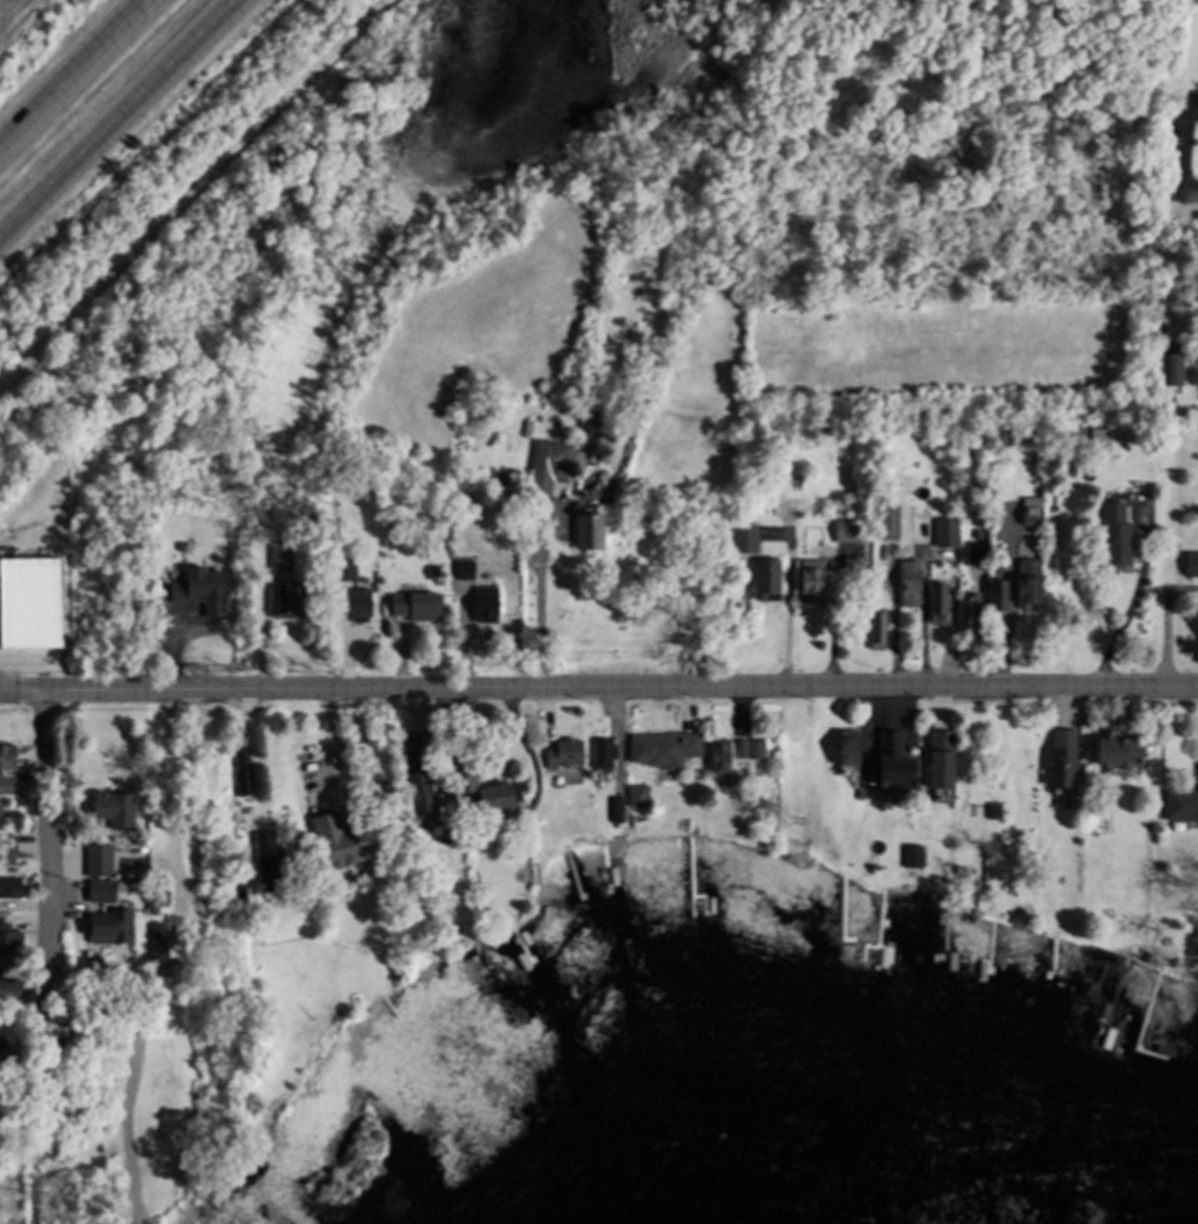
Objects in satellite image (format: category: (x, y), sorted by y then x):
road: (83, 81)
building: (1187, 110)
road: (127, 125)
road: (1179, 193)
road: (192, 195)
building: (1175, 373)
building: (1109, 444)
building: (551, 469)
building: (1033, 514)
building: (889, 526)
building: (921, 527)
building: (591, 534)
building: (851, 534)
building: (1117, 538)
building: (745, 541)
building: (1192, 567)
building: (768, 582)
building: (814, 584)
building: (1030, 585)
building: (911, 587)
building: (202, 593)
road: (1135, 597)
building: (999, 598)
building: (289, 599)
road: (538, 601)
building: (939, 604)
building: (360, 605)
building: (487, 608)
building: (418, 609)
building: (973, 613)
road: (262, 621)
building: (27, 622)
parking lot: (4, 623)
building: (879, 633)
road: (598, 687)
road: (334, 750)
building: (666, 751)
road: (254, 754)
building: (751, 754)
building: (1121, 754)
building: (606, 755)
building: (565, 756)
building: (850, 756)
building: (1064, 757)
building: (7, 760)
building: (721, 760)
building: (942, 762)
building: (897, 766)
building: (7, 789)
building: (422, 795)
building: (489, 795)
road: (171, 801)
building: (1181, 808)
building: (116, 813)
road: (46, 842)
building: (341, 845)
building: (7, 849)
building: (99, 863)
building: (271, 865)
building: (11, 891)
building: (101, 895)
building: (123, 929)
building: (10, 944)
building: (163, 951)
building: (12, 994)

